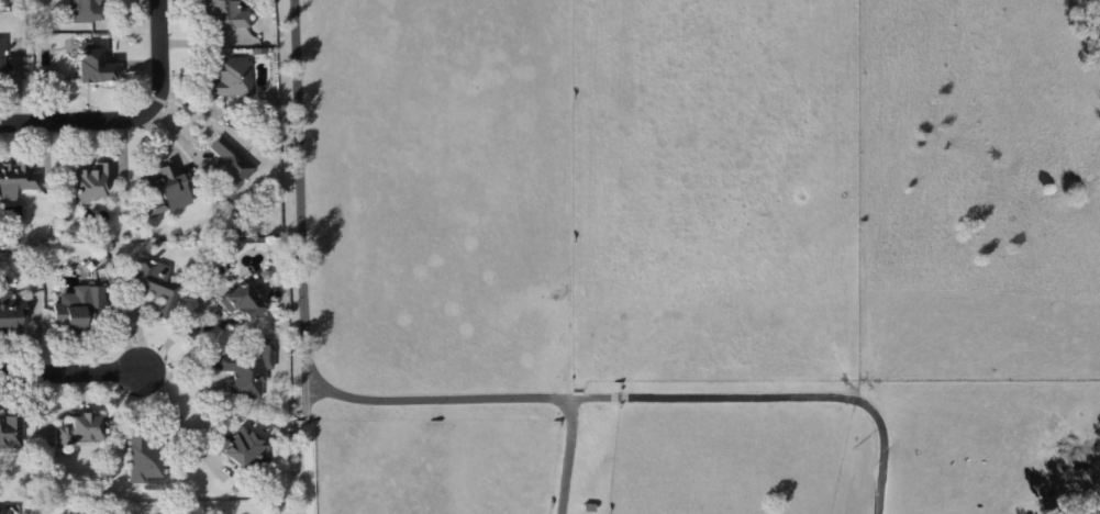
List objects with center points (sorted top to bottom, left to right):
building: (84, 10)
building: (223, 15)
building: (1, 62)
building: (92, 64)
building: (229, 78)
road: (134, 119)
building: (230, 163)
building: (16, 179)
building: (90, 181)
building: (162, 190)
road: (305, 257)
building: (155, 286)
building: (242, 301)
road: (192, 308)
building: (77, 309)
building: (10, 312)
building: (246, 369)
road: (71, 373)
road: (649, 399)
road: (182, 420)
building: (79, 428)
building: (10, 433)
building: (245, 450)
road: (566, 456)

